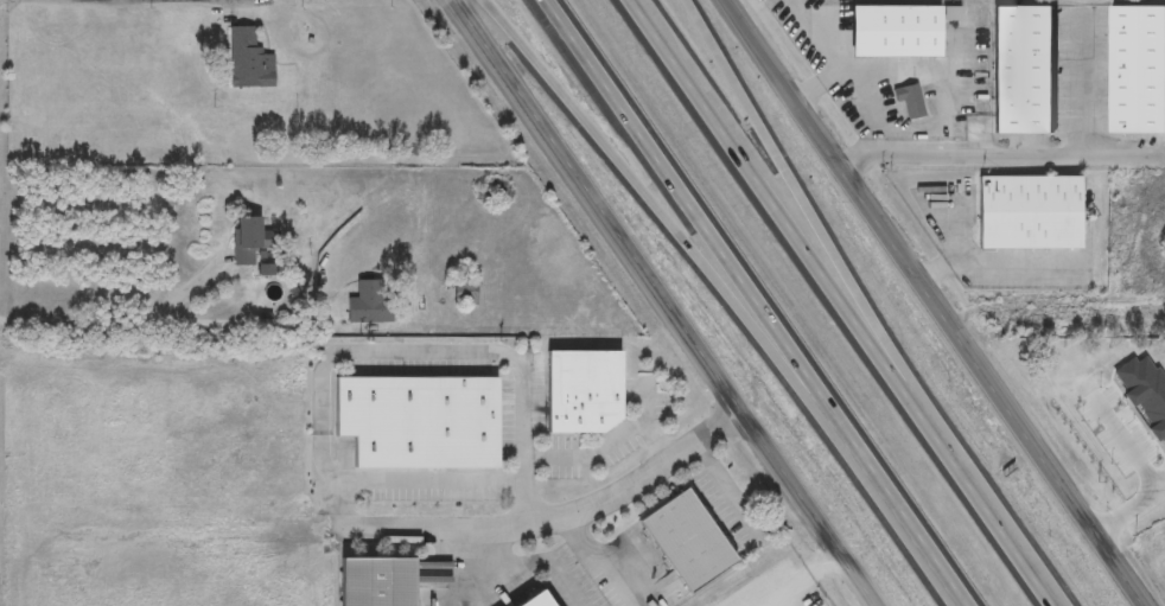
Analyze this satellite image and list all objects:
building: (891, 31)
road: (963, 42)
building: (247, 59)
road: (759, 63)
building: (1020, 70)
building: (1135, 70)
road: (892, 71)
road: (1083, 89)
building: (906, 100)
road: (822, 151)
road: (654, 155)
road: (999, 157)
road: (619, 159)
road: (777, 208)
road: (806, 208)
building: (1026, 212)
building: (247, 241)
road: (974, 263)
building: (368, 302)
road: (667, 302)
road: (160, 325)
road: (470, 352)
road: (992, 388)
building: (579, 390)
road: (645, 403)
building: (413, 422)
road: (1125, 444)
road: (862, 459)
road: (962, 473)
road: (427, 479)
road: (724, 484)
road: (527, 490)
road: (1128, 511)
road: (559, 518)
building: (681, 540)
road: (600, 560)
road: (527, 566)
road: (1030, 568)
building: (371, 582)
building: (531, 600)

